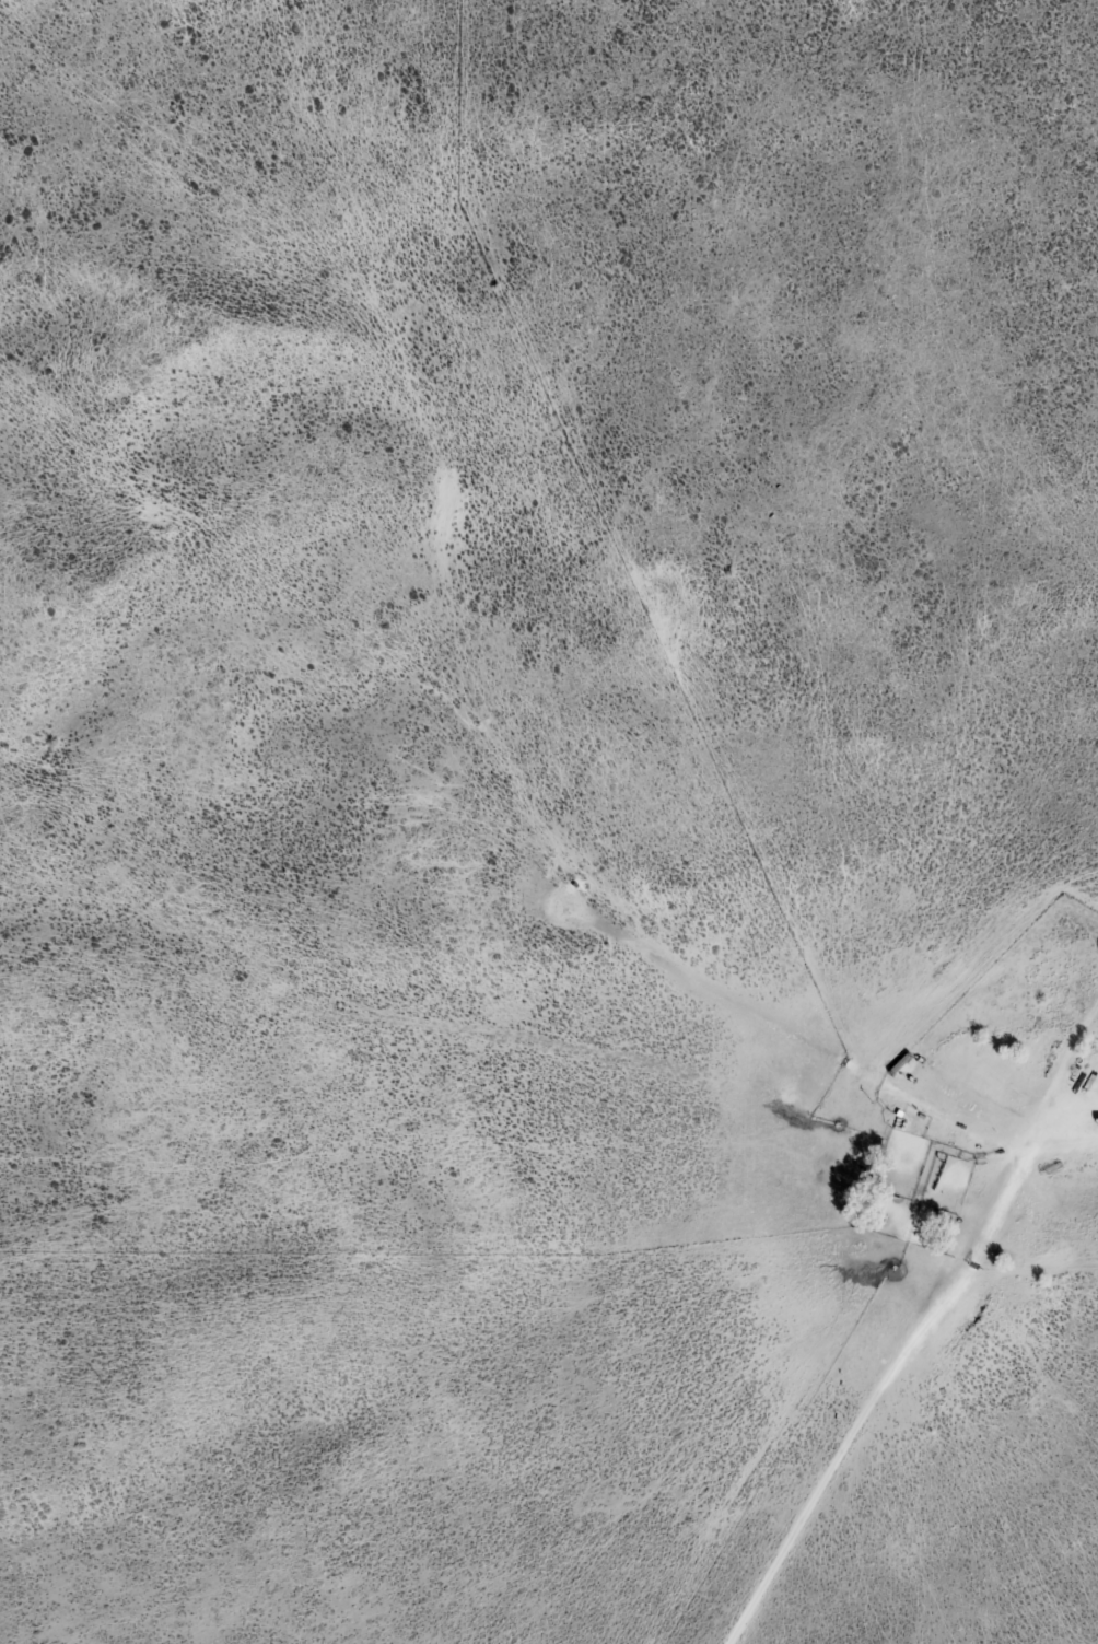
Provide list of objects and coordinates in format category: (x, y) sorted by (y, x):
road: (913, 1367)

